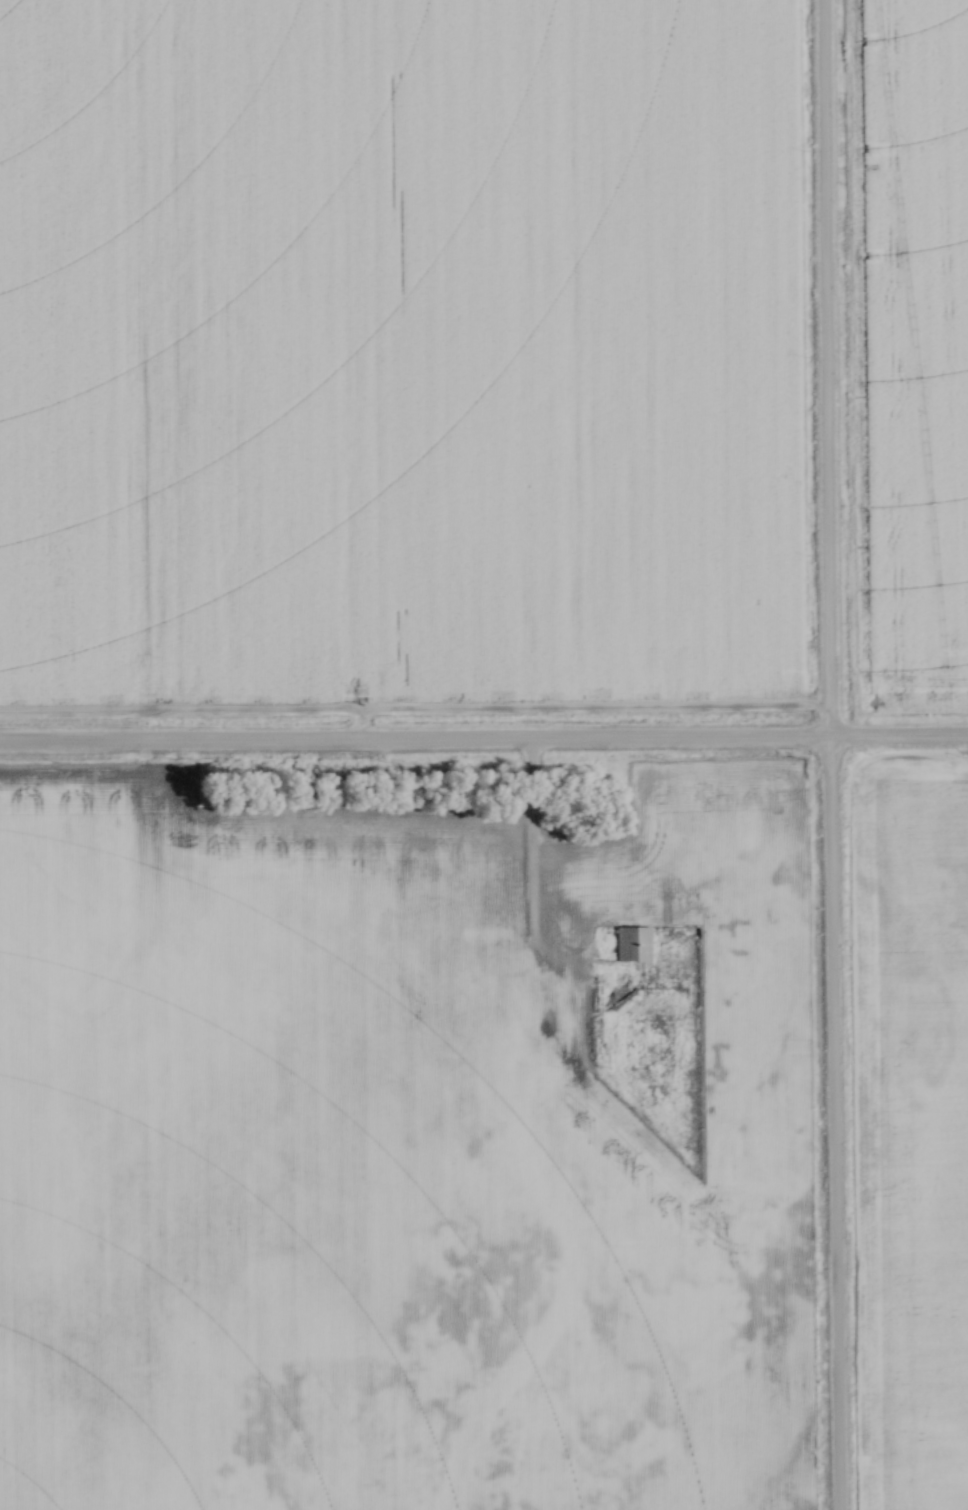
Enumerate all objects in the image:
road: (484, 746)
road: (828, 755)
road: (531, 885)
building: (631, 944)

